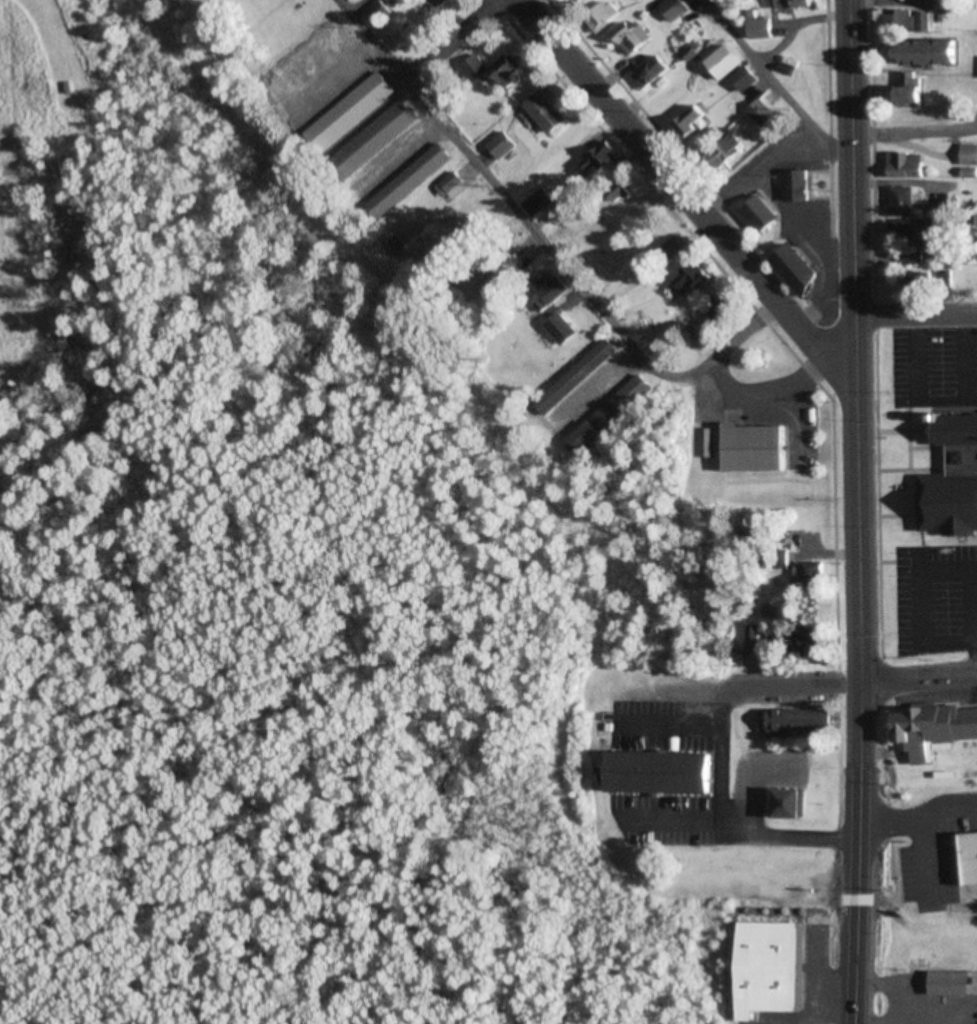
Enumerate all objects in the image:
building: (587, 0)
building: (795, 4)
building: (378, 14)
building: (602, 15)
building: (910, 21)
building: (762, 28)
building: (633, 38)
road: (454, 41)
building: (933, 53)
building: (734, 67)
building: (510, 69)
building: (653, 71)
road: (776, 85)
building: (915, 89)
building: (547, 112)
building: (762, 112)
building: (695, 121)
building: (374, 140)
building: (502, 145)
building: (725, 150)
building: (970, 154)
building: (600, 161)
building: (907, 164)
building: (410, 180)
building: (798, 185)
building: (451, 186)
building: (620, 192)
road: (498, 193)
road: (686, 196)
building: (904, 201)
building: (539, 202)
building: (763, 214)
building: (918, 230)
building: (391, 246)
building: (672, 248)
building: (796, 265)
building: (687, 279)
building: (485, 288)
building: (549, 296)
building: (724, 306)
road: (915, 315)
building: (562, 329)
building: (699, 331)
road: (855, 340)
road: (724, 347)
building: (598, 356)
building: (610, 415)
building: (758, 449)
building: (954, 479)
building: (781, 560)
building: (810, 574)
parking lot: (936, 596)
road: (919, 606)
building: (752, 639)
building: (808, 641)
road: (918, 677)
road: (773, 685)
road: (666, 722)
parking lot: (670, 723)
building: (803, 724)
building: (934, 729)
road: (719, 753)
building: (655, 772)
building: (786, 801)
building: (953, 810)
parking lot: (689, 817)
road: (673, 819)
road: (787, 836)
road: (858, 852)
building: (965, 857)
building: (764, 968)
building: (953, 983)

